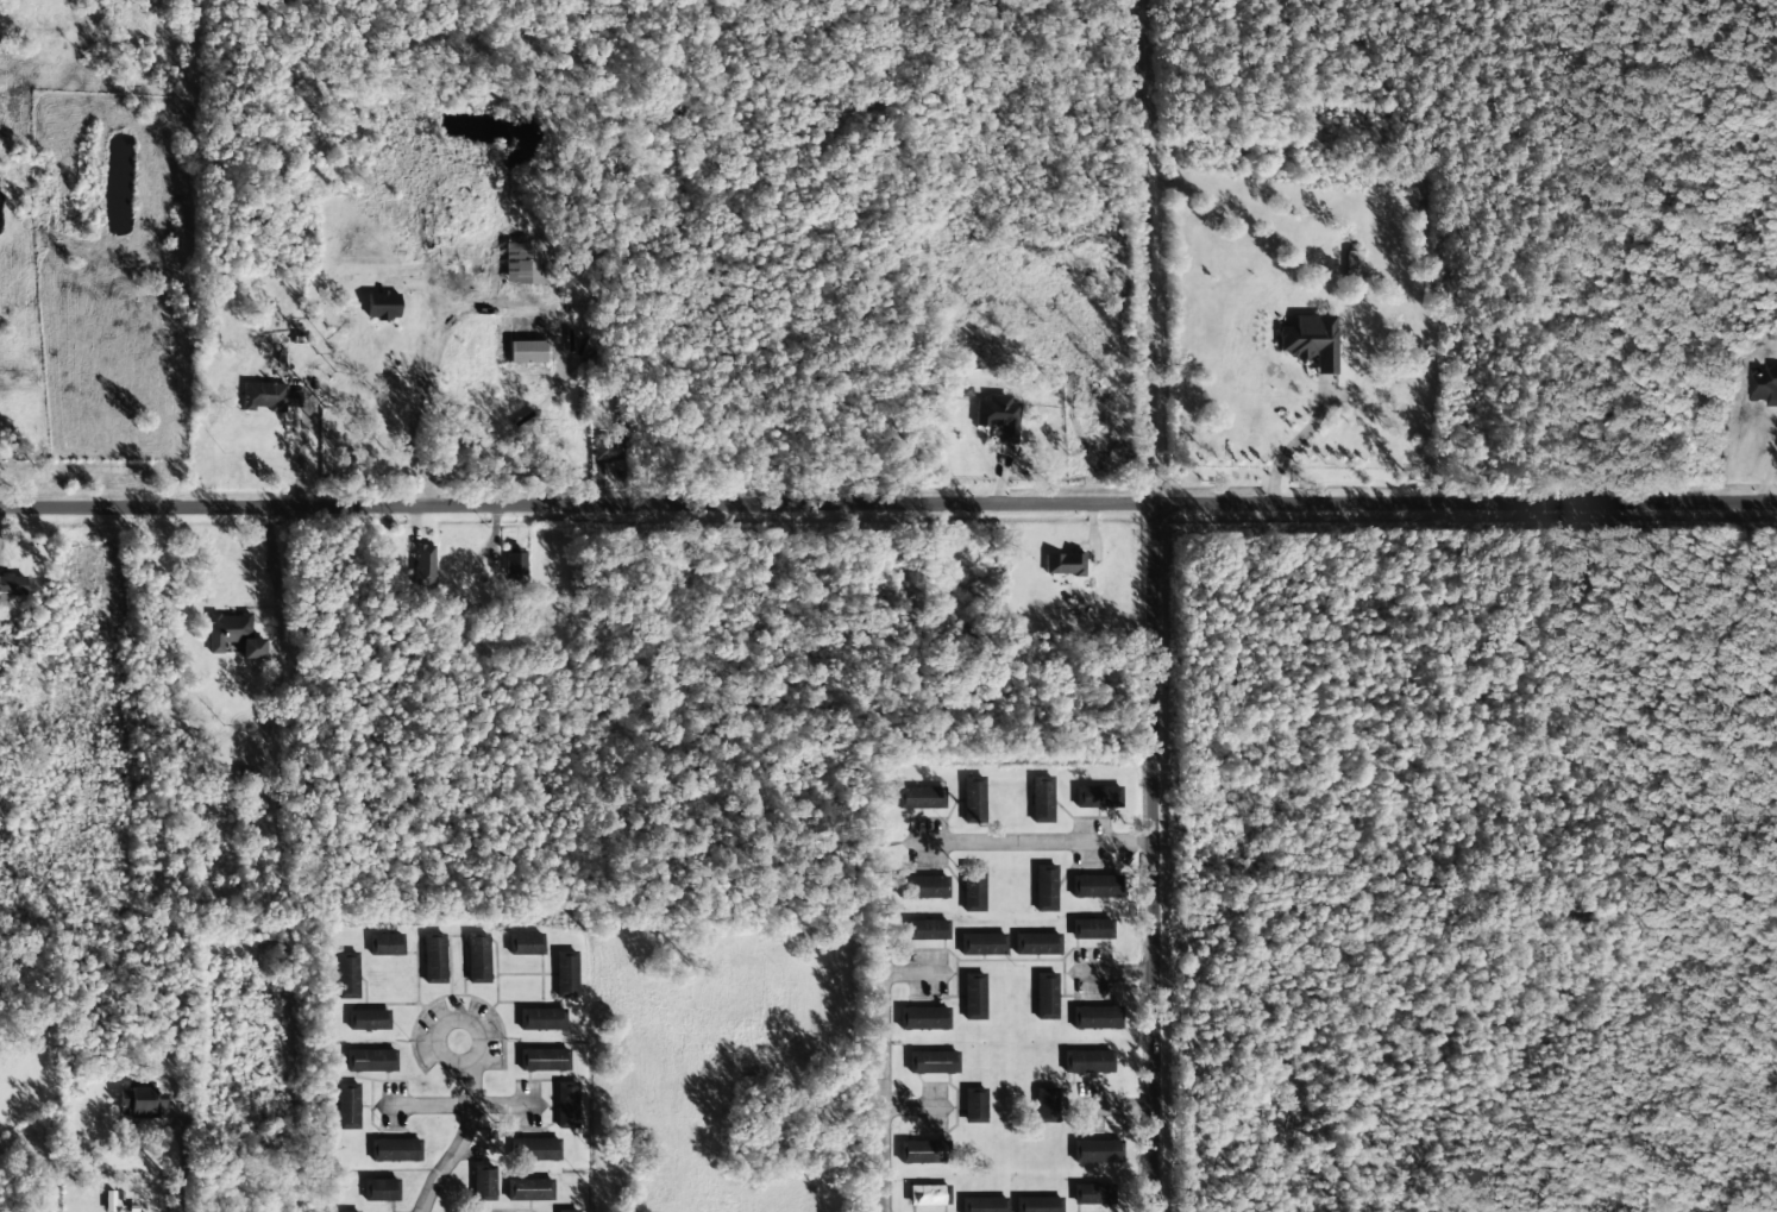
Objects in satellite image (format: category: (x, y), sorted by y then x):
road: (1684, 202)
building: (528, 262)
building: (1354, 264)
building: (382, 306)
building: (1311, 341)
building: (527, 352)
road: (1767, 352)
building: (1762, 385)
building: (268, 396)
building: (998, 416)
building: (608, 447)
road: (887, 503)
building: (515, 561)
building: (1063, 564)
building: (423, 565)
building: (12, 584)
building: (227, 629)
building: (252, 648)
building: (245, 777)
building: (921, 797)
building: (1097, 797)
building: (973, 799)
building: (1041, 799)
road: (1034, 841)
road: (1156, 858)
building: (923, 886)
building: (1095, 886)
building: (973, 888)
building: (1044, 888)
building: (927, 929)
building: (1091, 929)
building: (526, 943)
building: (982, 943)
building: (1036, 943)
building: (385, 944)
building: (434, 957)
building: (478, 957)
building: (565, 973)
building: (347, 974)
building: (973, 996)
building: (1046, 996)
building: (1095, 1017)
building: (923, 1018)
building: (368, 1019)
building: (541, 1019)
road: (497, 1025)
road: (1032, 1038)
building: (370, 1060)
building: (544, 1060)
building: (1087, 1061)
building: (931, 1062)
building: (142, 1103)
building: (566, 1105)
building: (974, 1105)
building: (1046, 1105)
building: (347, 1106)
road: (470, 1148)
building: (536, 1149)
building: (395, 1150)
building: (918, 1151)
building: (1097, 1151)
road: (178, 1161)
road: (1031, 1168)
building: (483, 1182)
building: (381, 1189)
building: (529, 1189)
building: (928, 1194)
building: (1092, 1194)
building: (984, 1204)
building: (1037, 1204)
building: (350, 1211)
building: (567, 1211)

